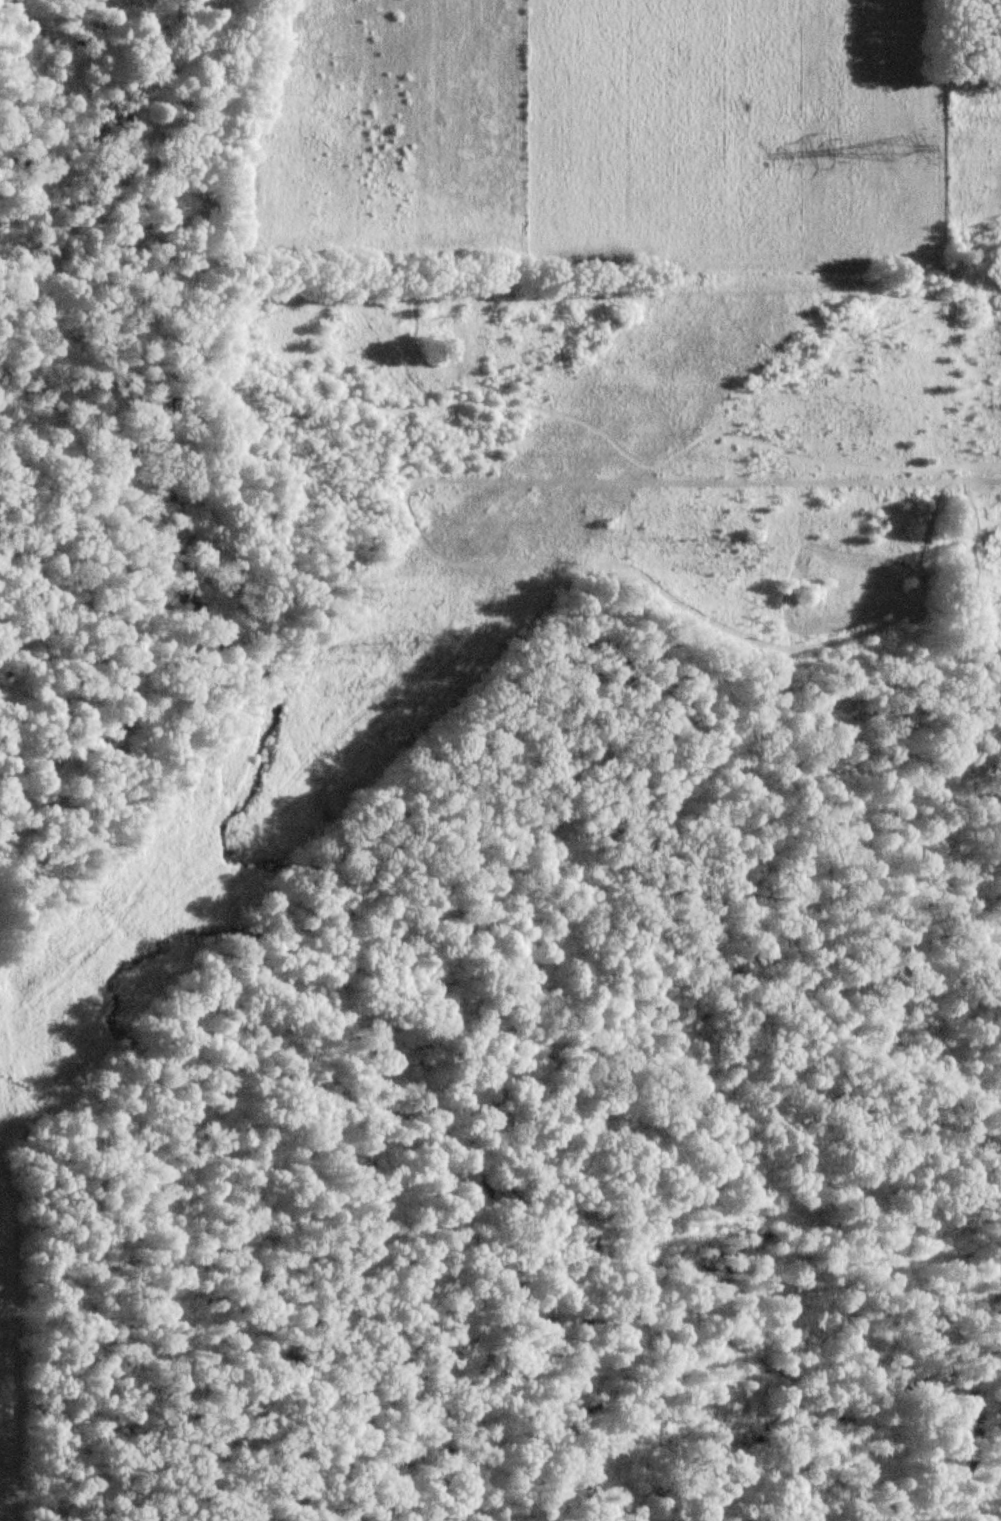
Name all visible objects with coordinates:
power tower: (903, 154)
power tower: (413, 650)

